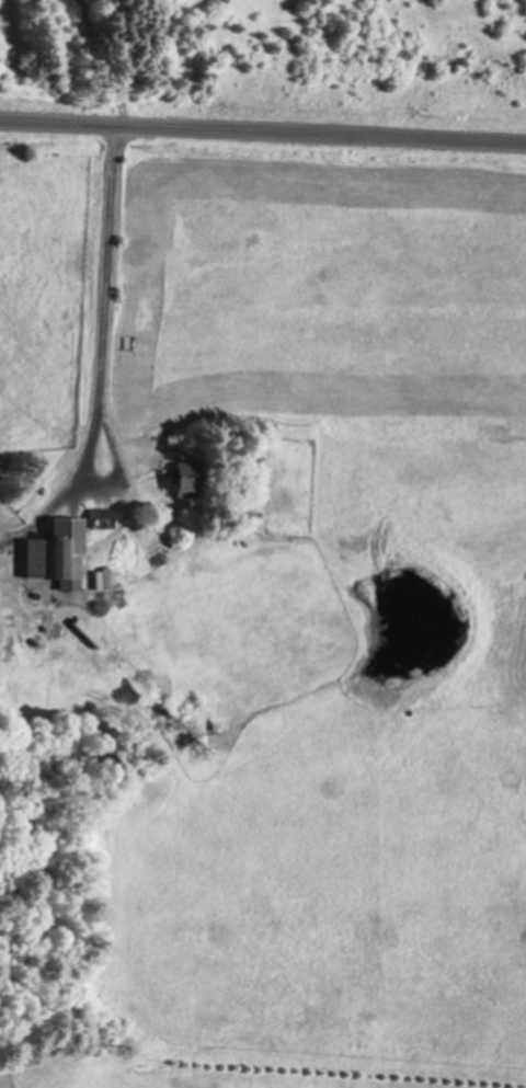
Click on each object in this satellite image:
road: (262, 131)
road: (110, 244)
building: (186, 478)
building: (99, 515)
building: (56, 553)

